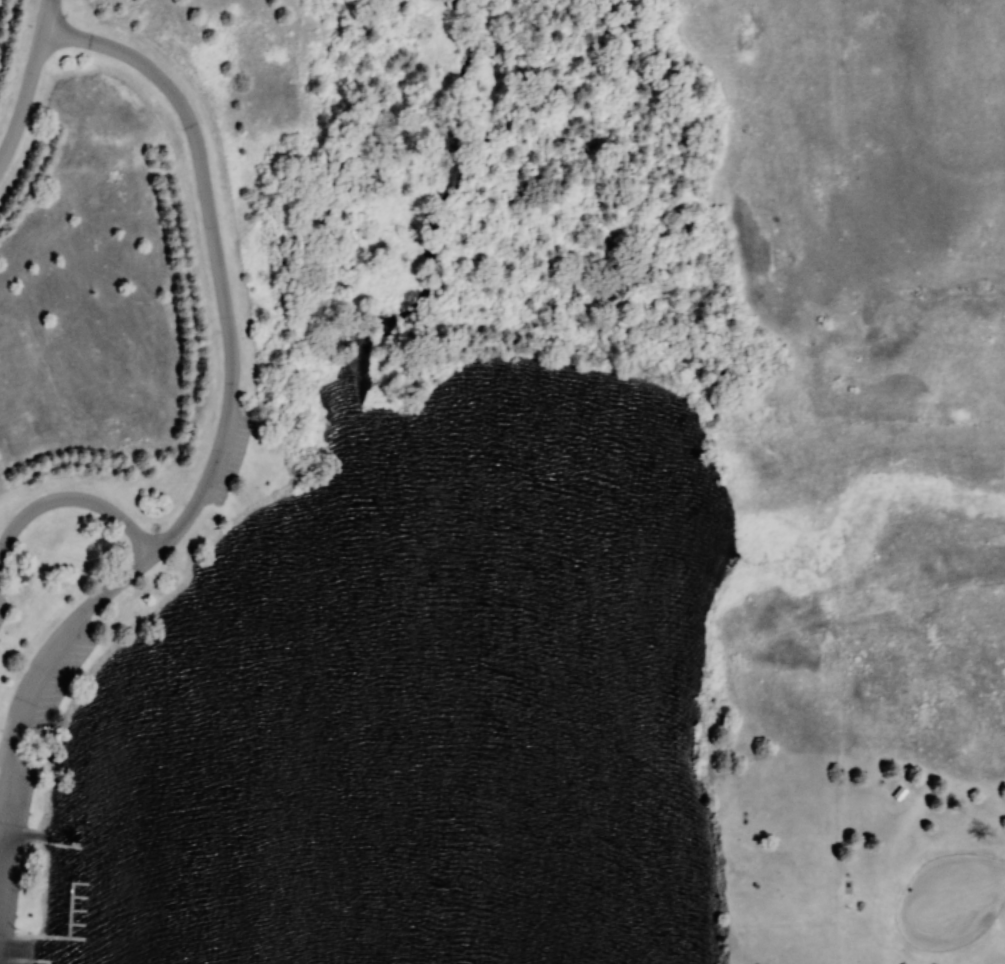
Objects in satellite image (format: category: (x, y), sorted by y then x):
road: (29, 81)
road: (228, 354)
park: (423, 573)
parking lot: (1, 612)
road: (49, 661)
road: (20, 832)
parking lot: (10, 866)
road: (973, 890)

